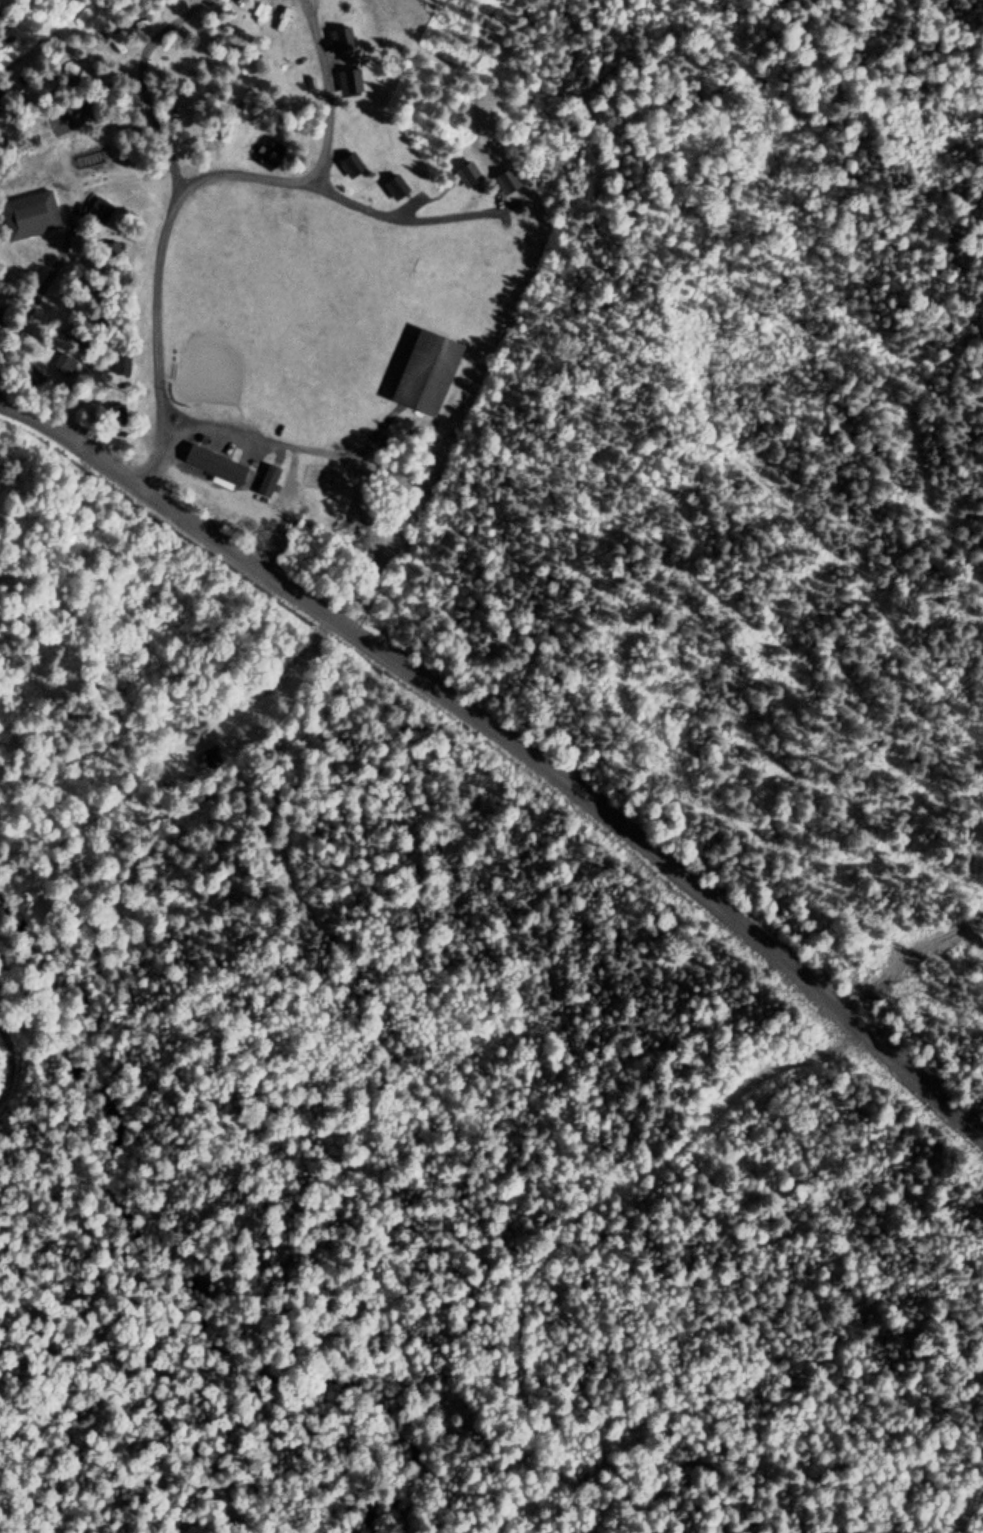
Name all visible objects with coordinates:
road: (310, 1)
building: (343, 41)
building: (351, 81)
road: (147, 85)
road: (326, 93)
road: (113, 135)
building: (352, 166)
building: (468, 175)
road: (191, 182)
building: (506, 182)
building: (396, 188)
building: (29, 216)
building: (109, 251)
park: (269, 301)
building: (121, 363)
building: (427, 370)
road: (284, 443)
building: (218, 466)
building: (267, 481)
road: (512, 739)

